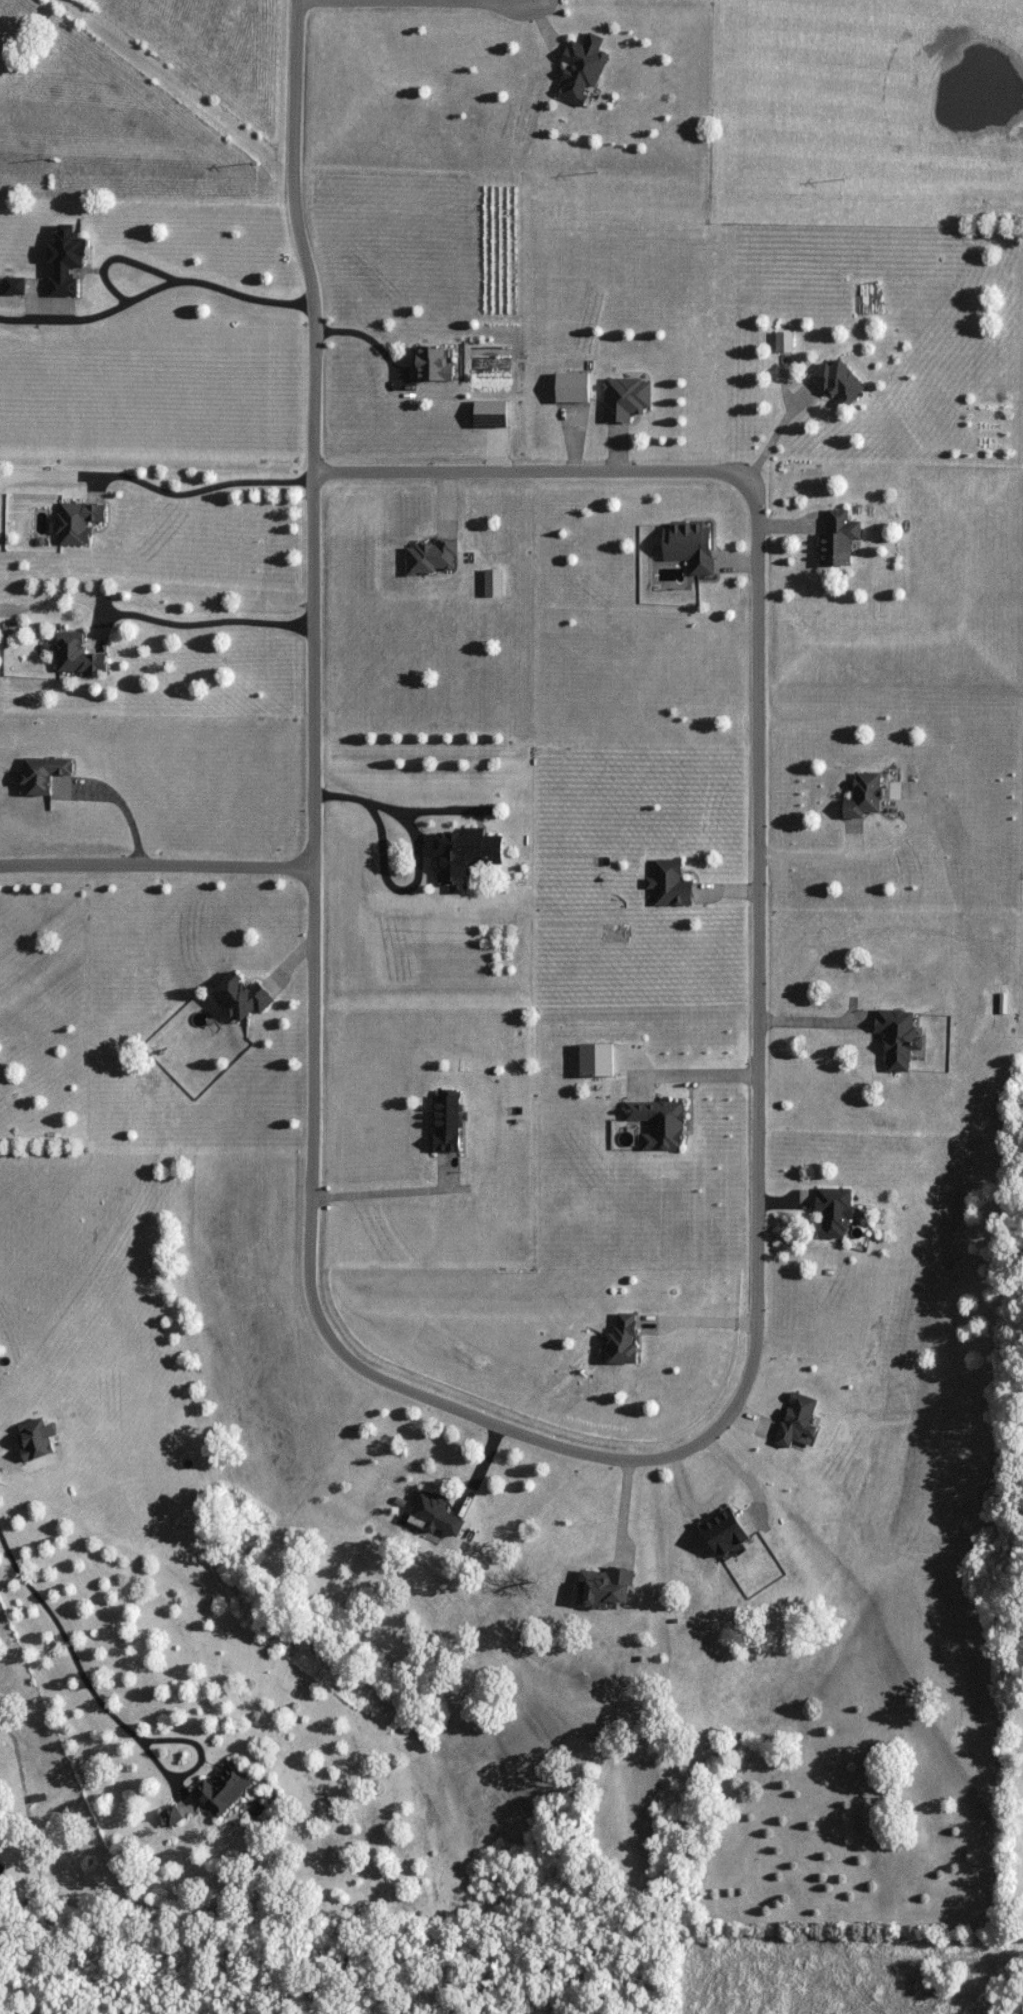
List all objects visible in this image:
road: (418, 0)
building: (581, 70)
building: (64, 262)
building: (13, 287)
road: (171, 287)
building: (783, 343)
building: (432, 365)
building: (837, 384)
building: (570, 389)
building: (625, 399)
road: (777, 430)
road: (535, 471)
road: (157, 489)
building: (79, 522)
building: (837, 540)
building: (688, 547)
building: (430, 558)
road: (195, 628)
building: (79, 655)
road: (316, 724)
road: (758, 746)
building: (45, 773)
building: (862, 796)
building: (464, 856)
road: (417, 859)
road: (157, 866)
building: (670, 884)
building: (241, 997)
building: (897, 1038)
building: (658, 1123)
building: (445, 1124)
road: (385, 1193)
building: (833, 1213)
road: (701, 1323)
building: (621, 1341)
road: (749, 1386)
building: (797, 1421)
road: (622, 1511)
building: (435, 1516)
building: (722, 1532)
building: (602, 1587)
road: (65, 1642)
road: (196, 1763)
building: (222, 1790)
building: (171, 1817)
road: (2, 2013)

